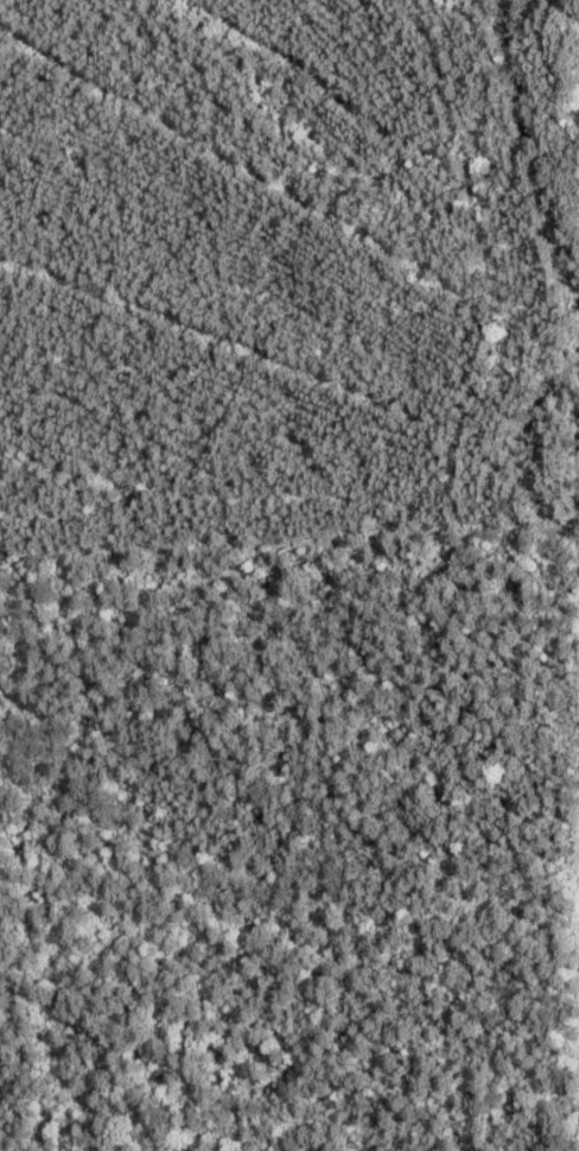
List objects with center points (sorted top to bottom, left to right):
road: (168, 13)
road: (438, 391)
road: (289, 456)

